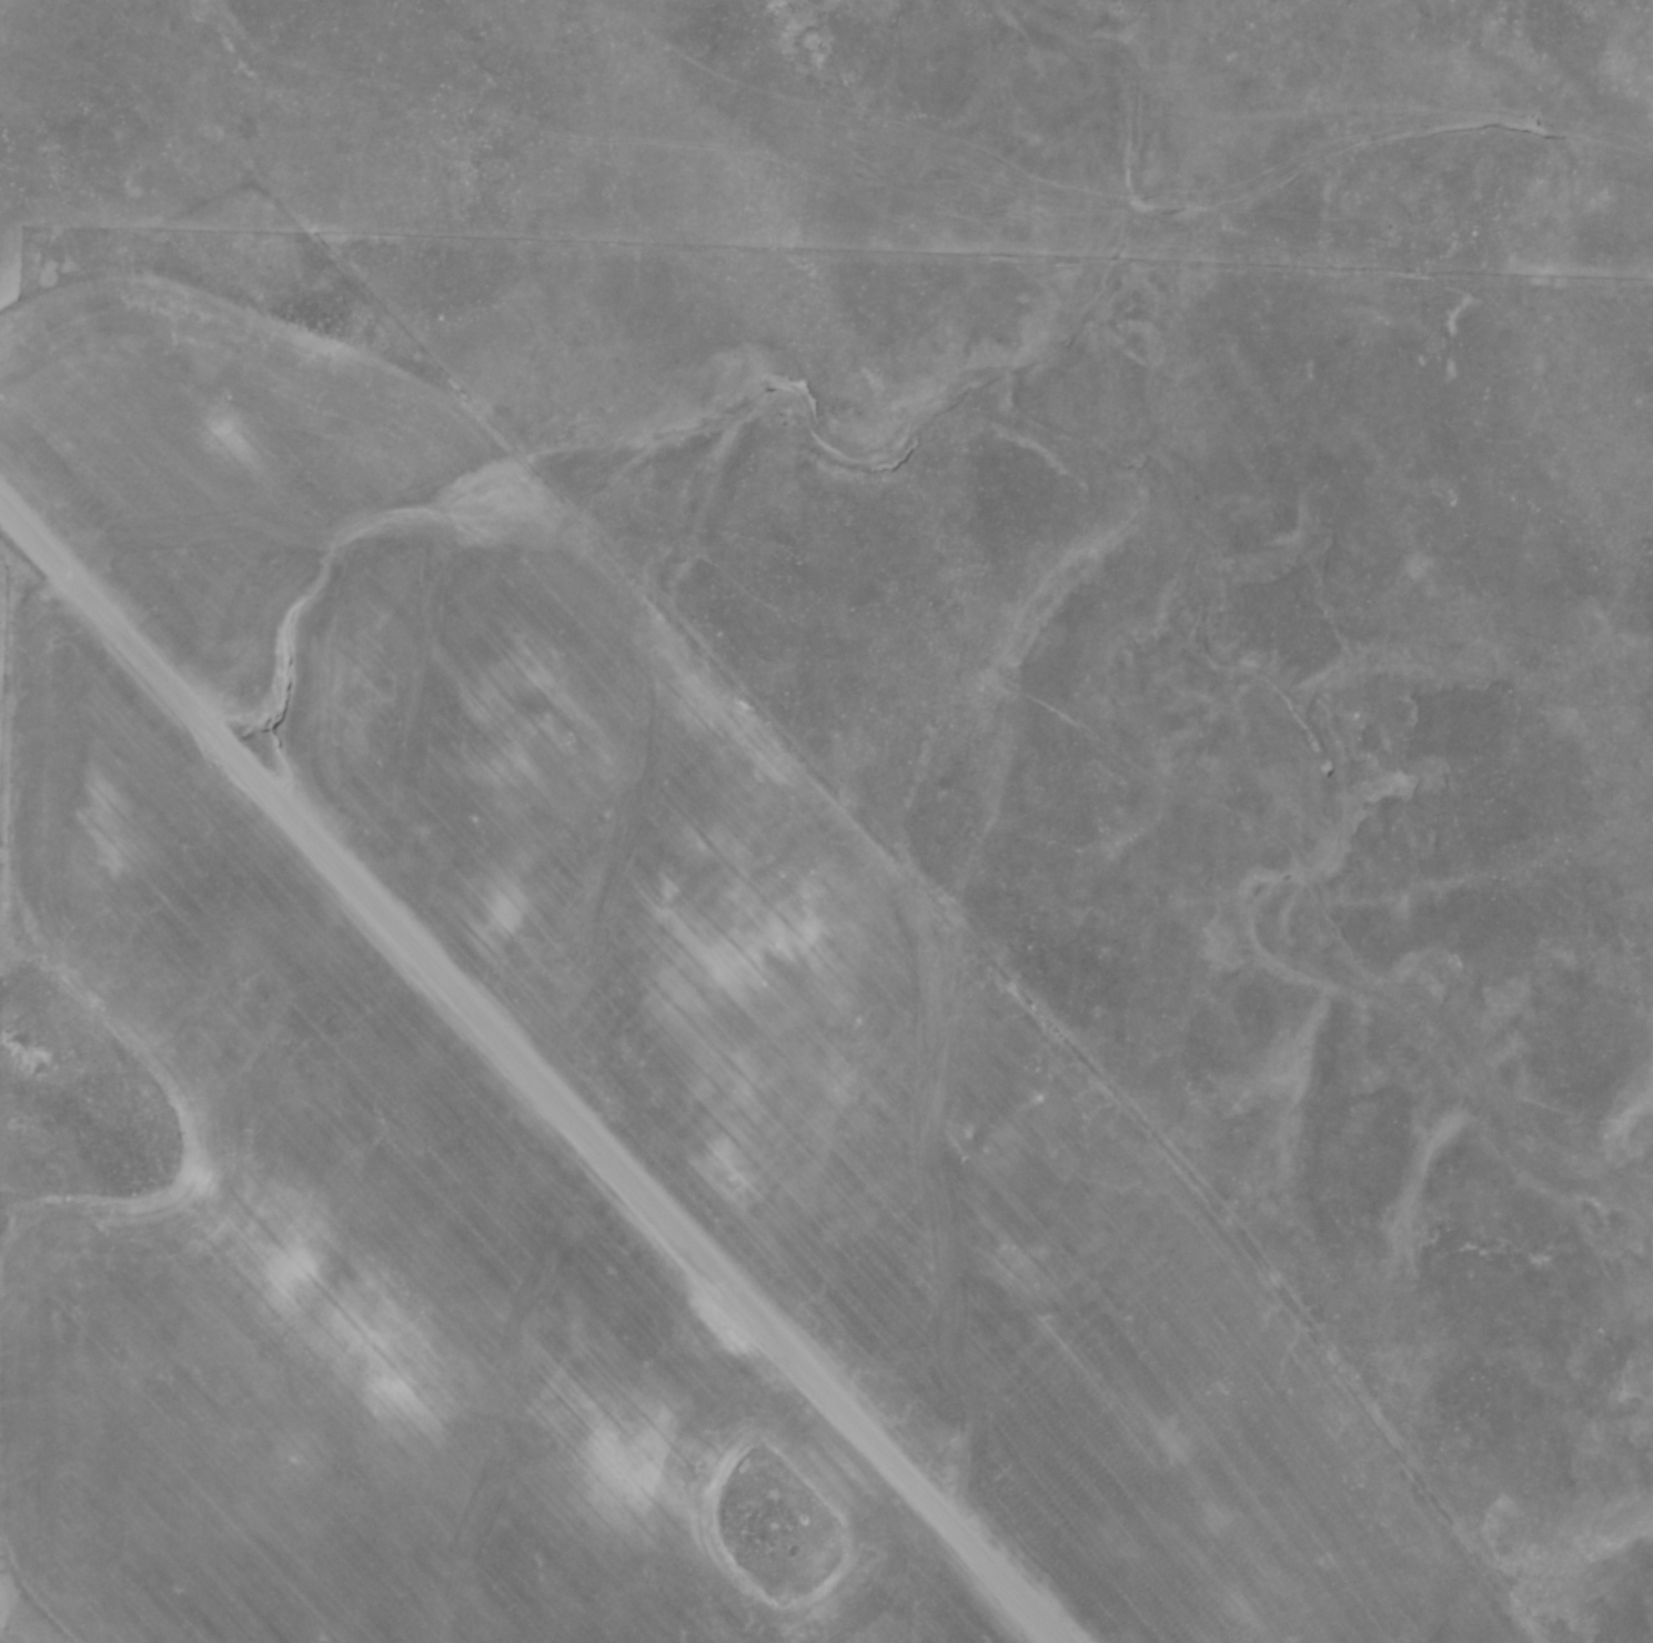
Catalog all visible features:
crop: (732, 971)
road: (527, 1071)
crop: (367, 1292)

